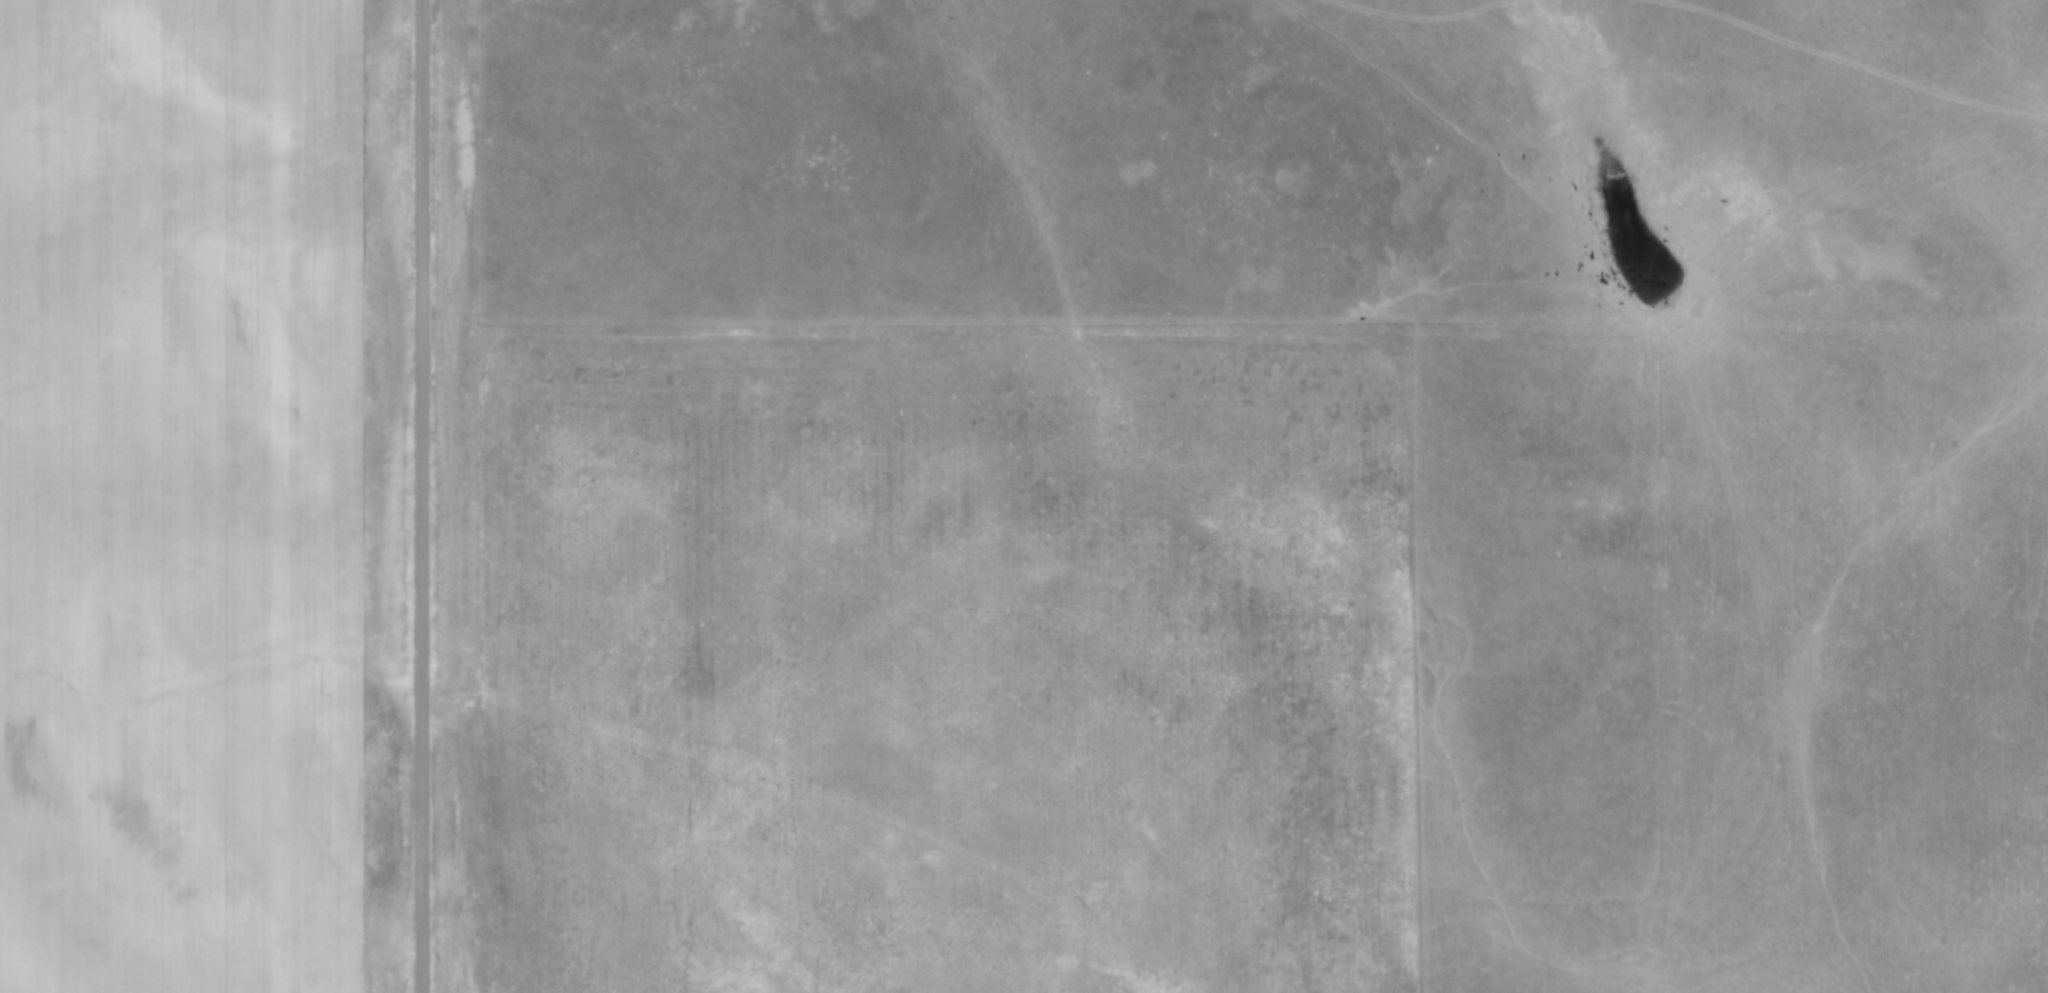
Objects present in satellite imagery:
road: (417, 496)

